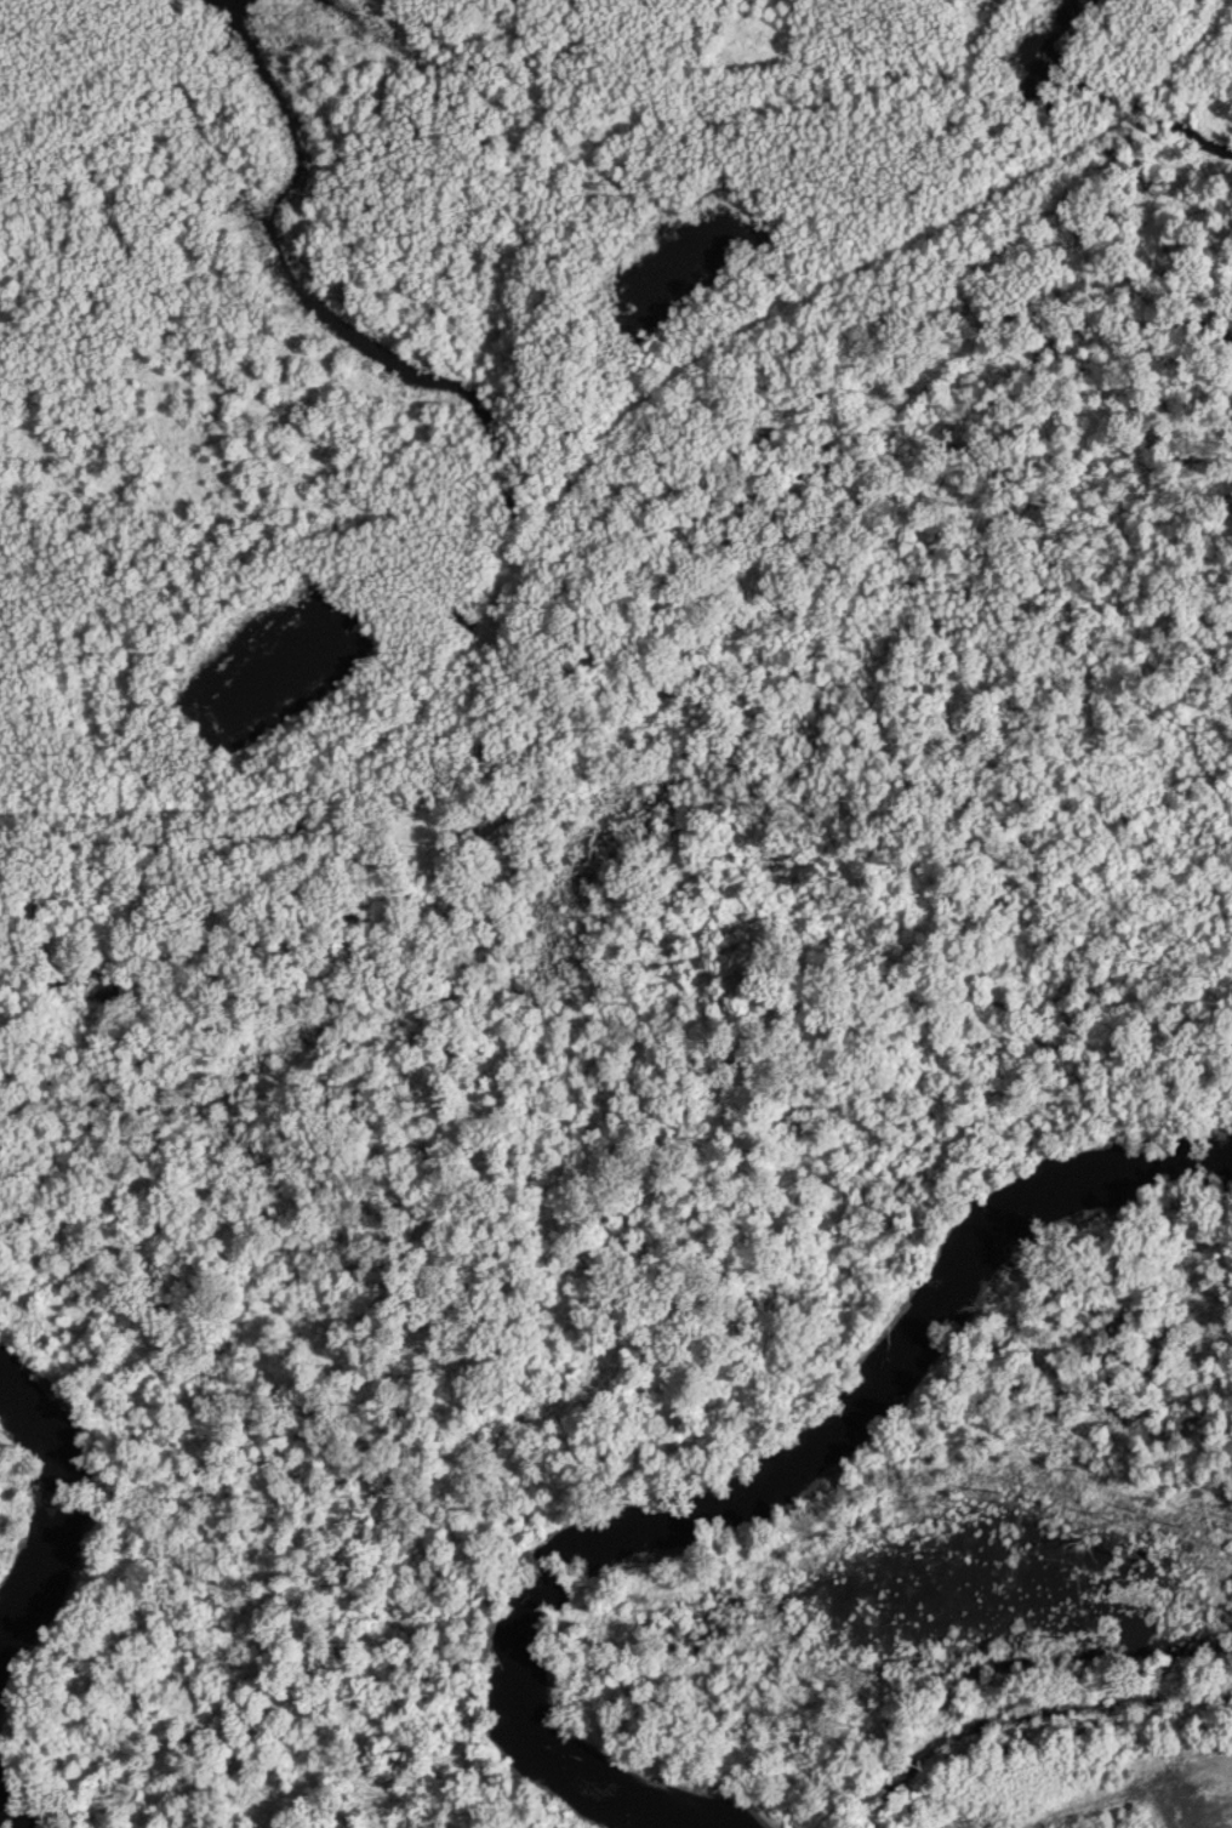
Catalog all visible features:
road: (584, 473)

